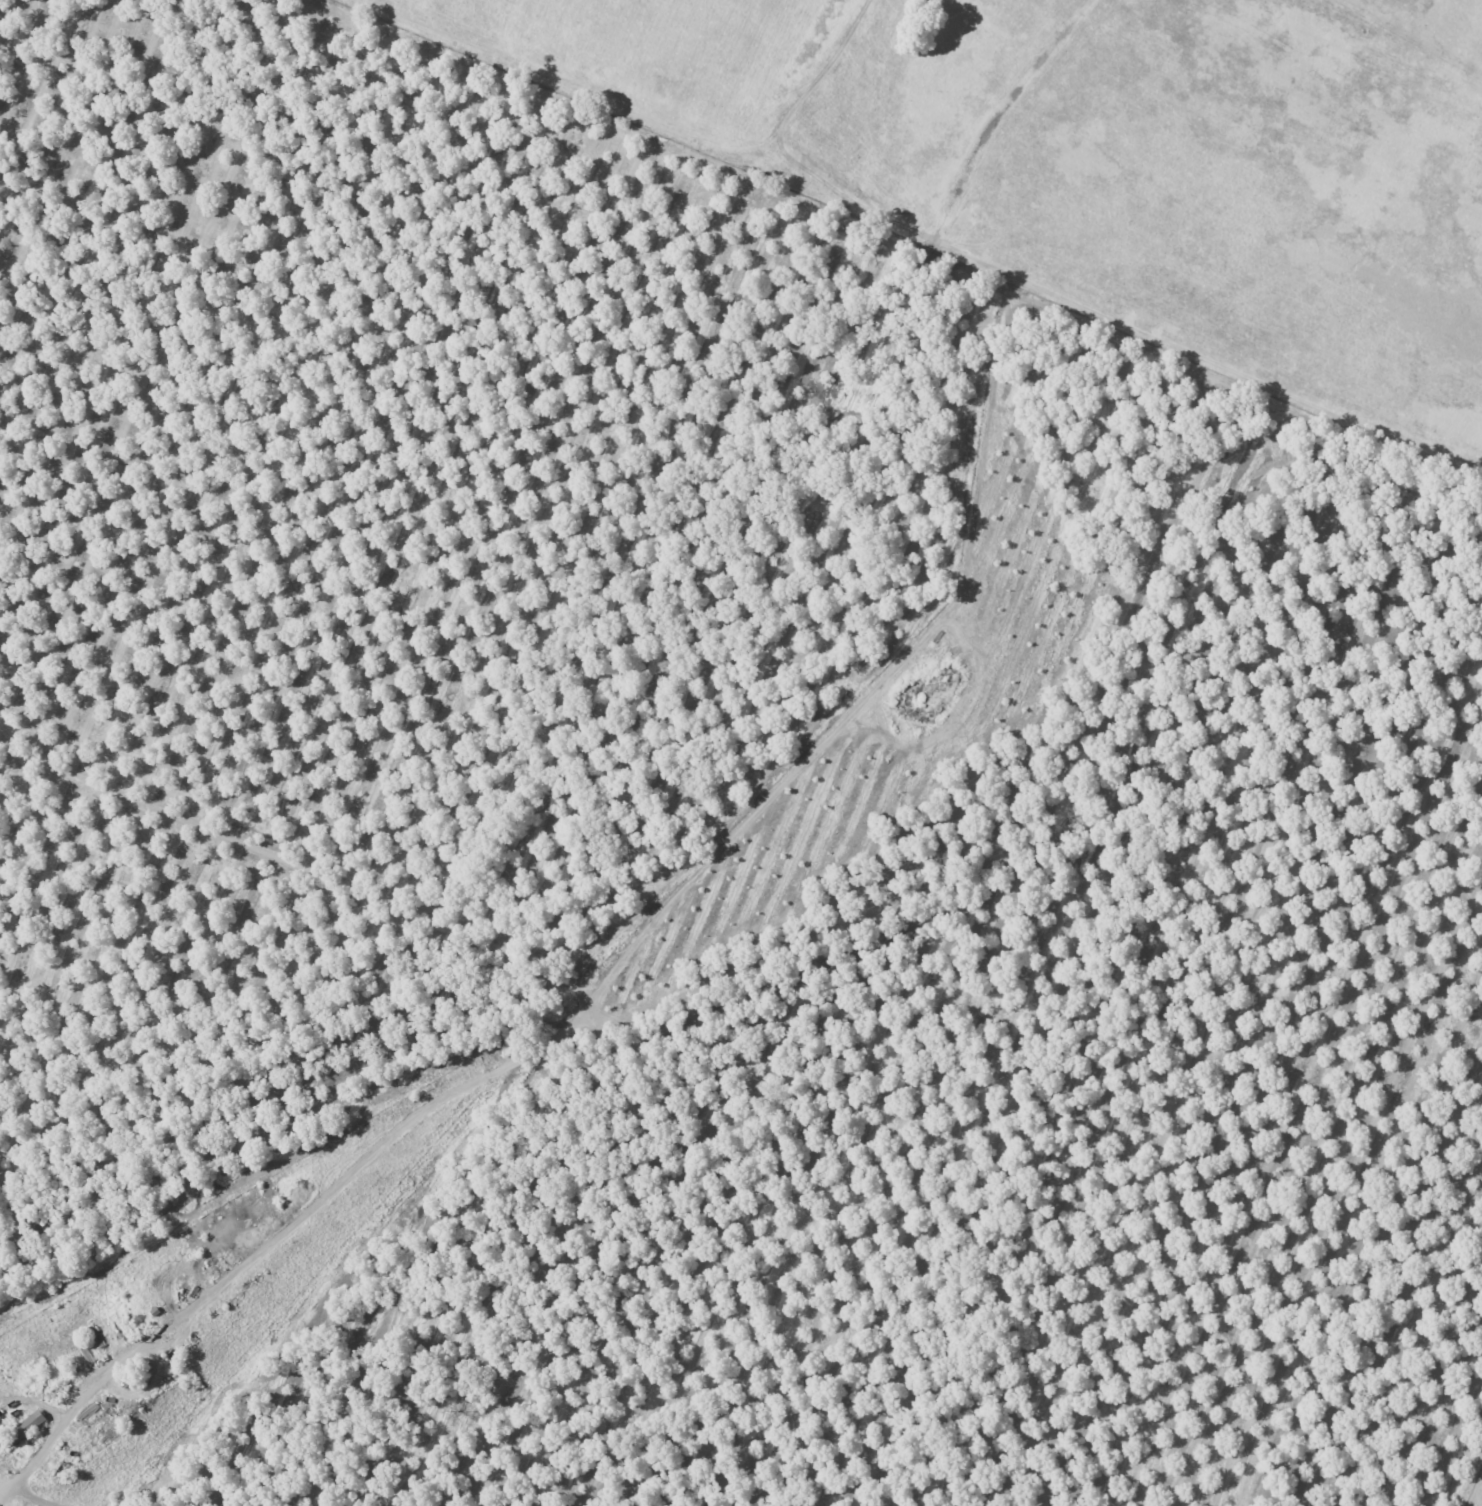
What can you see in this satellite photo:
road: (300, 869)
road: (622, 963)

